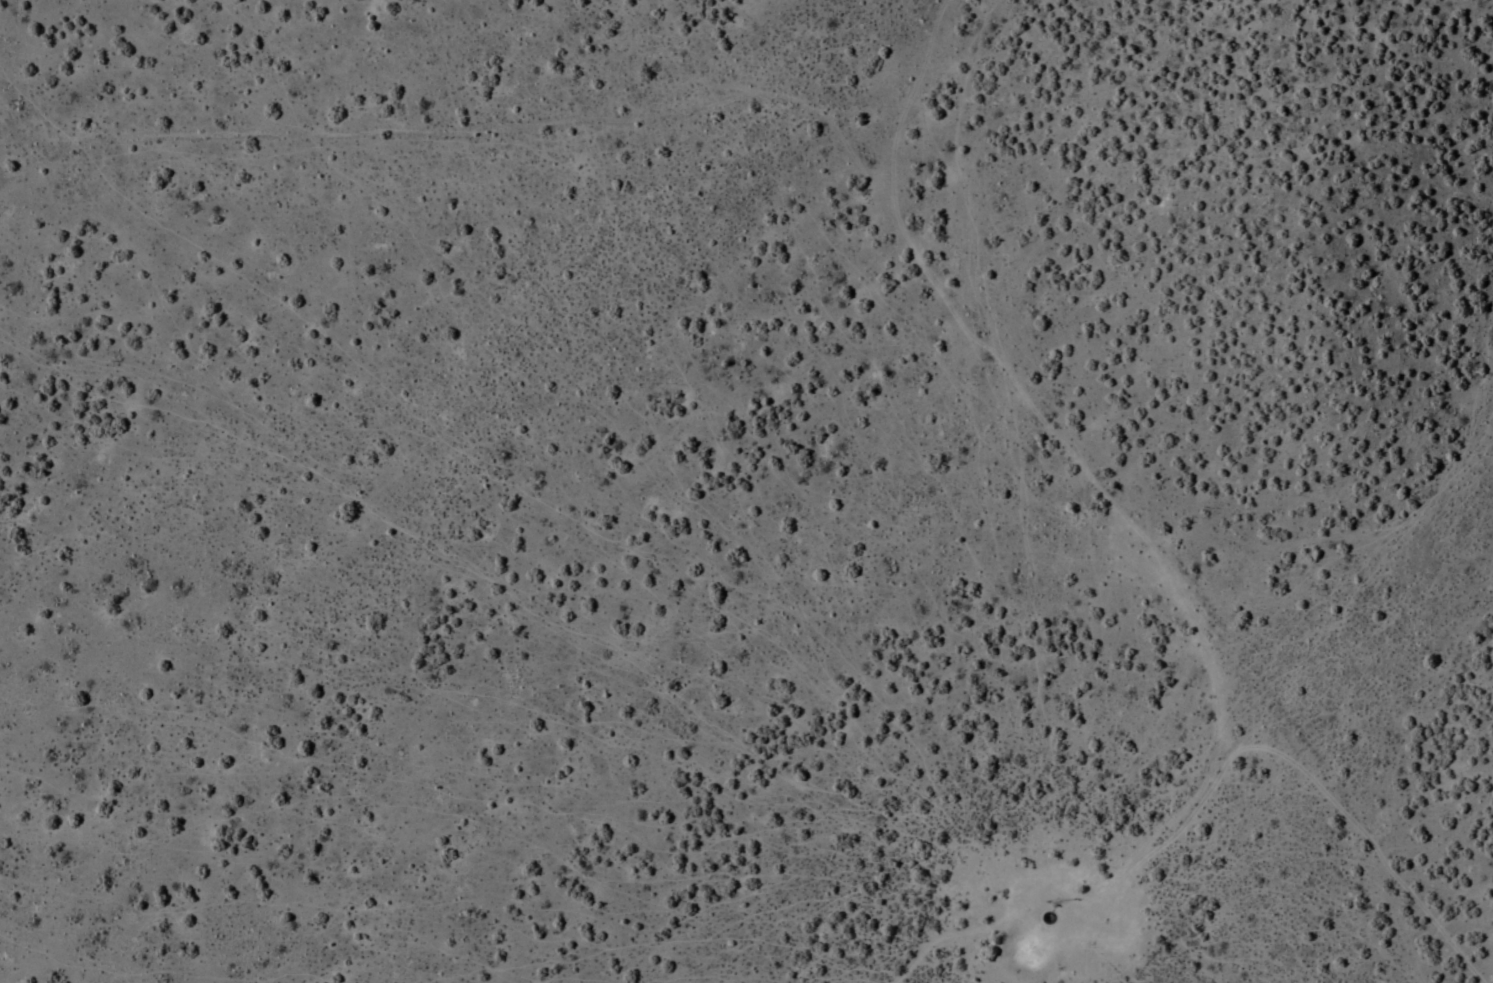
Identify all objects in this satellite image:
road: (1319, 853)
road: (1076, 873)

